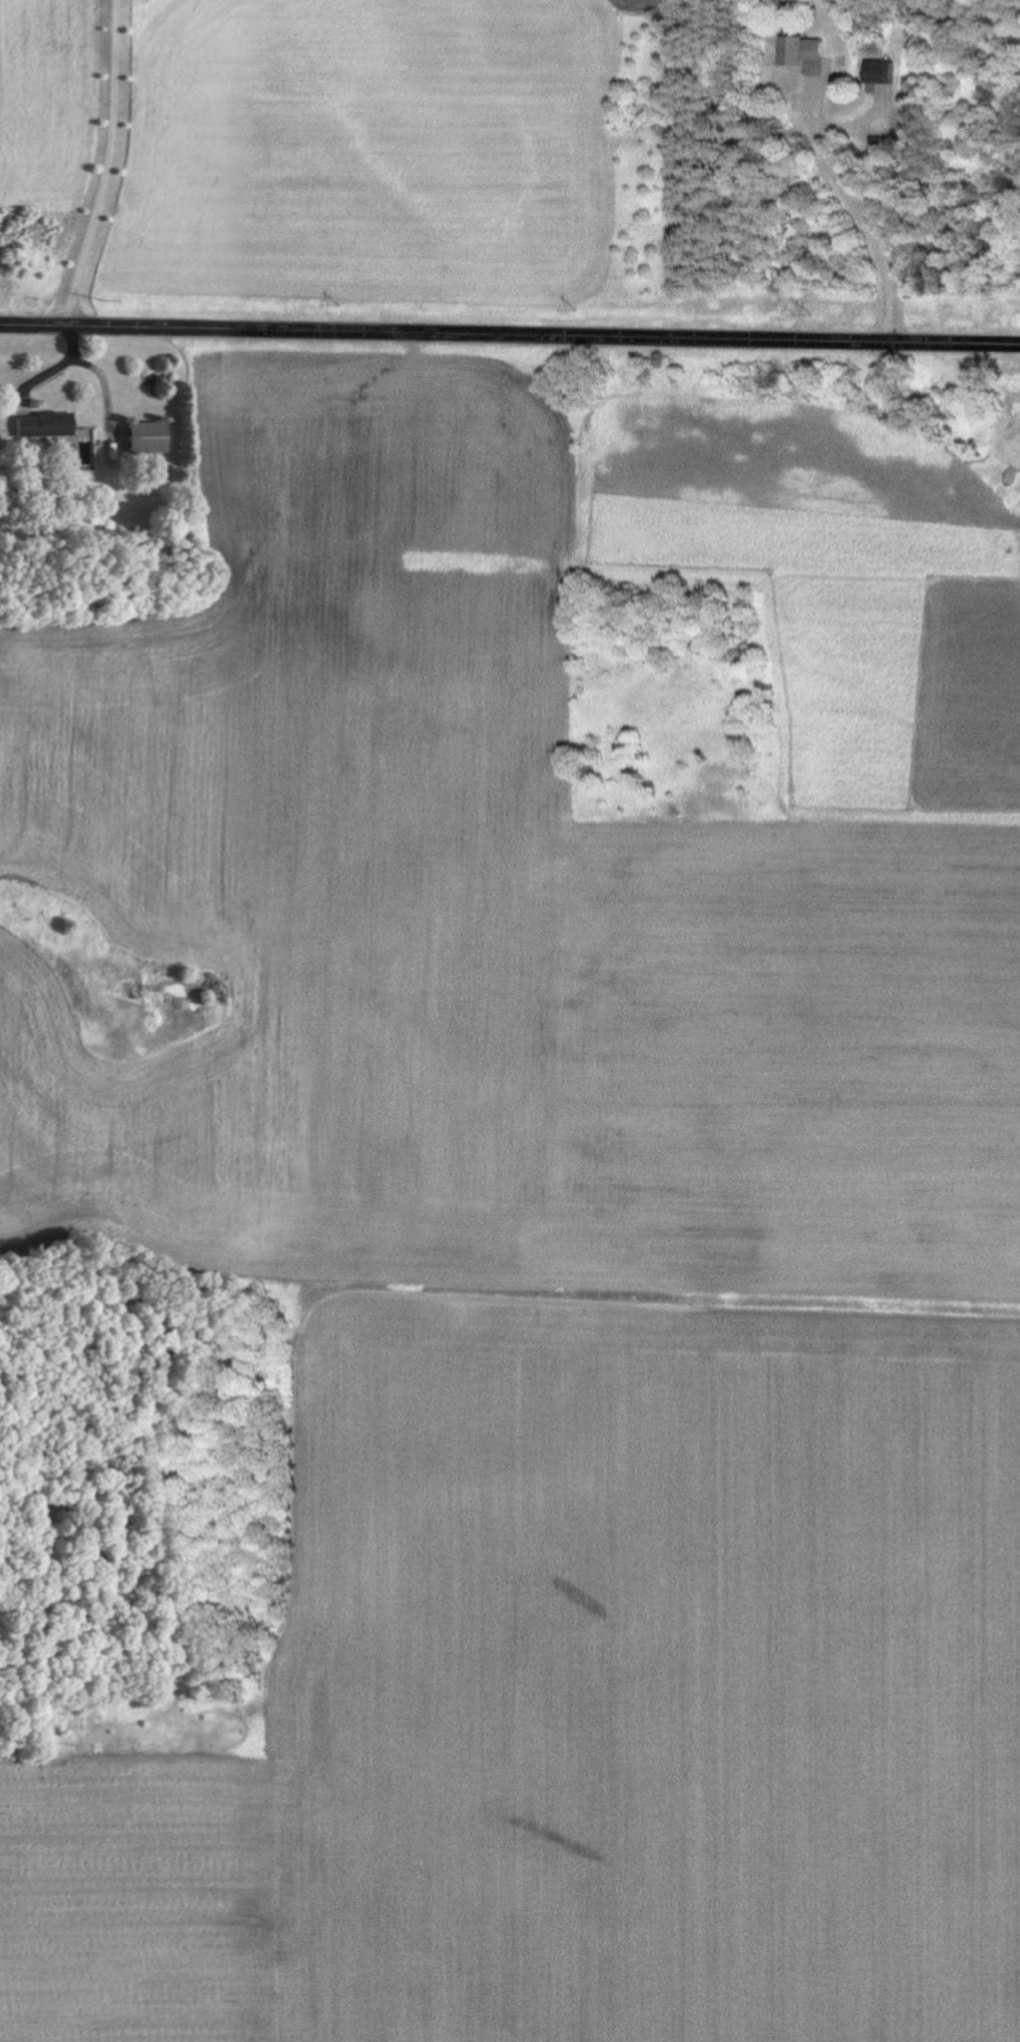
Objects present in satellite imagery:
building: (805, 50)
building: (884, 72)
road: (510, 340)
building: (48, 426)
building: (152, 439)

